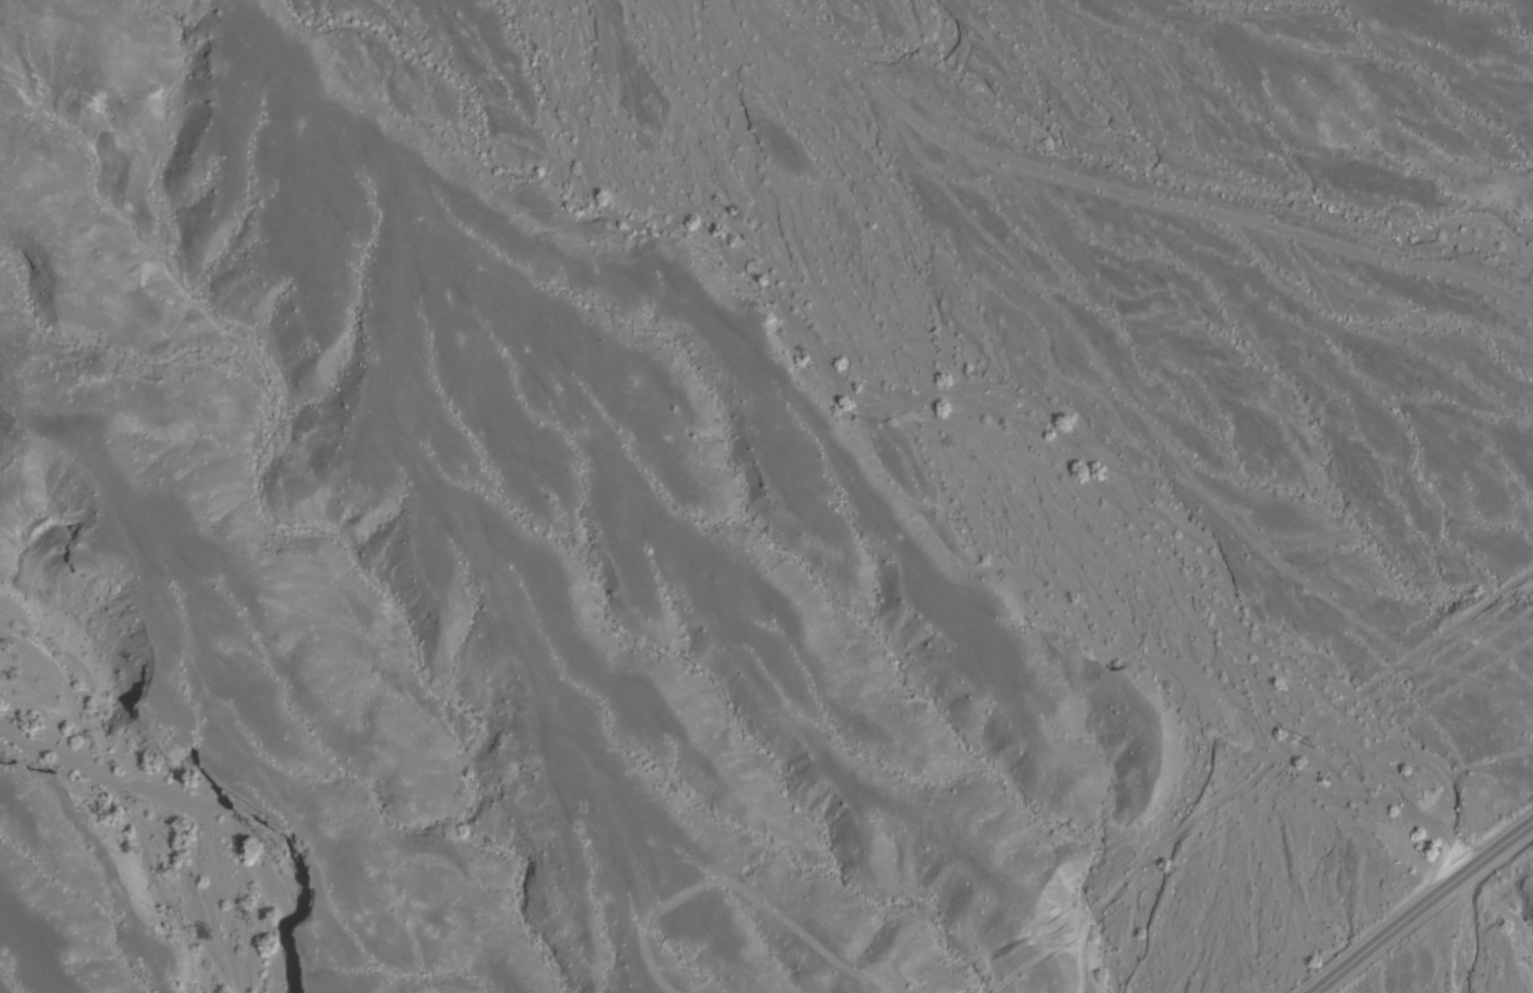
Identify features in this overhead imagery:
power tower: (1313, 741)
road: (1423, 905)

